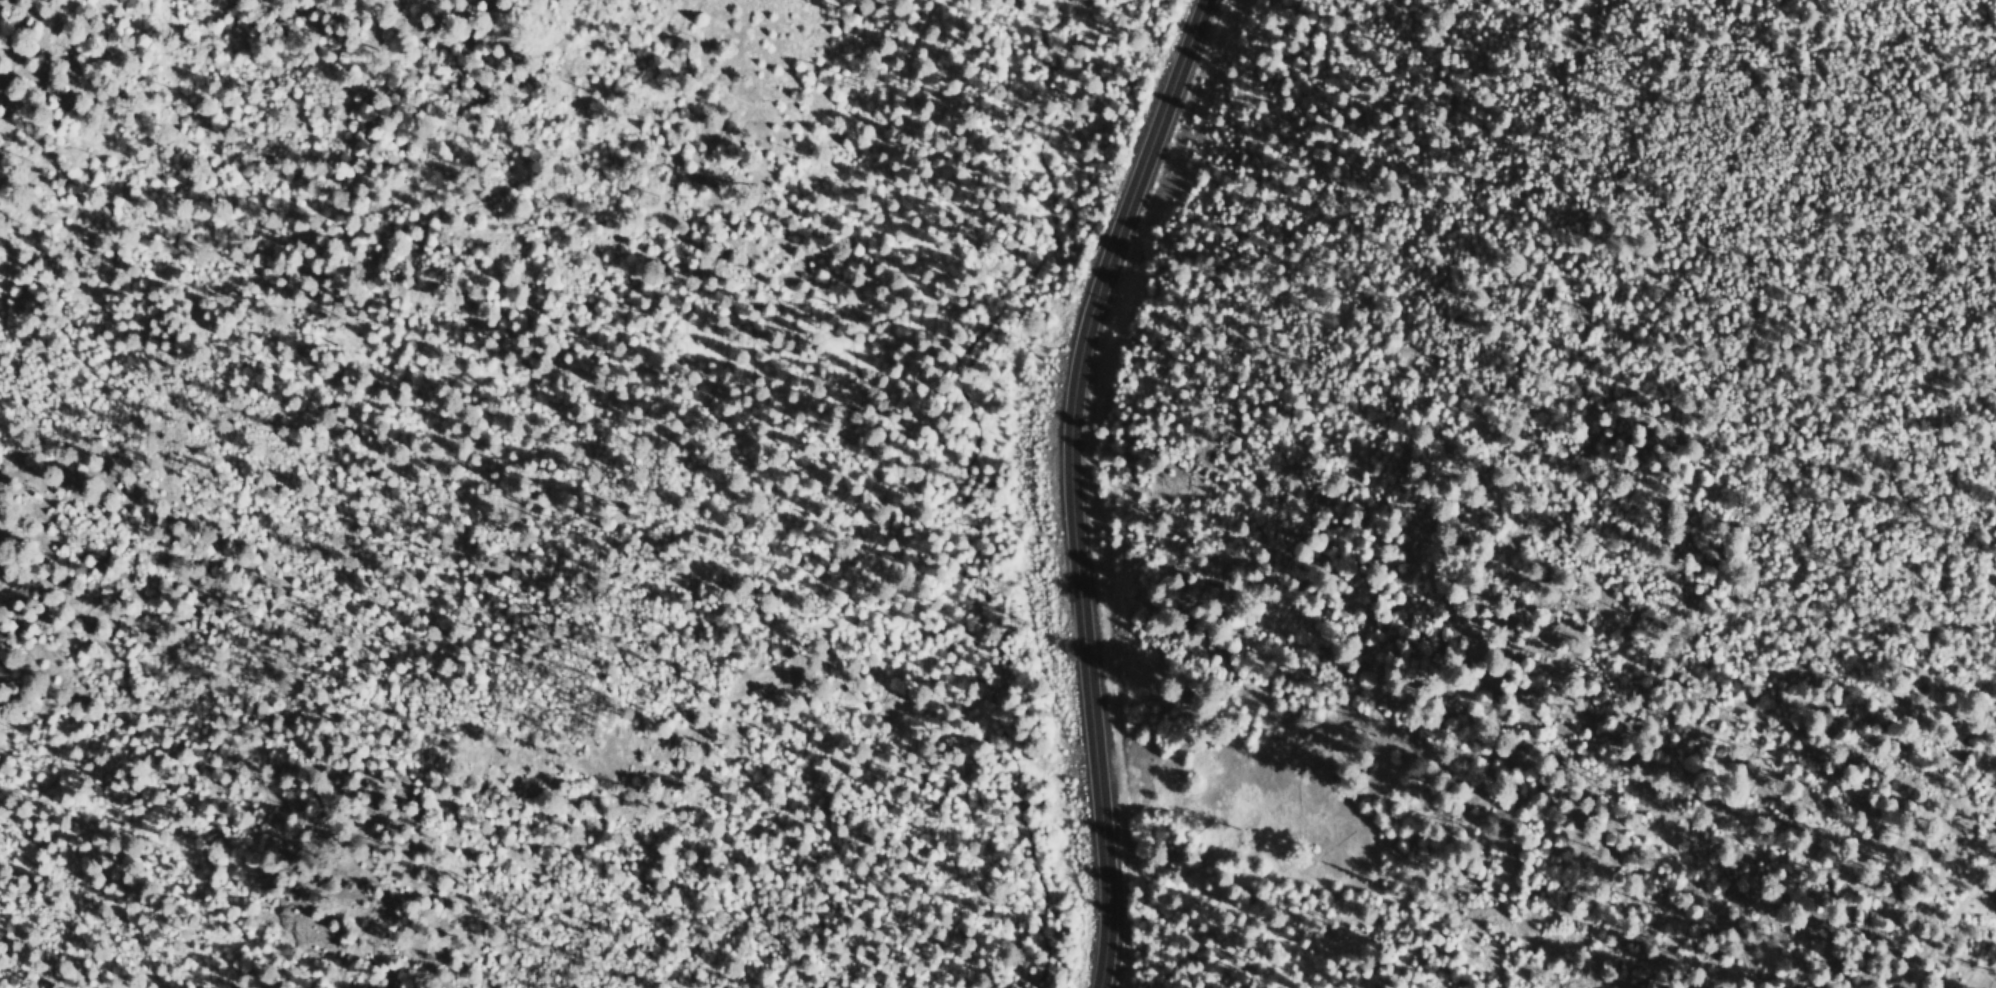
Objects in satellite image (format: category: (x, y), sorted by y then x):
road: (1076, 484)

